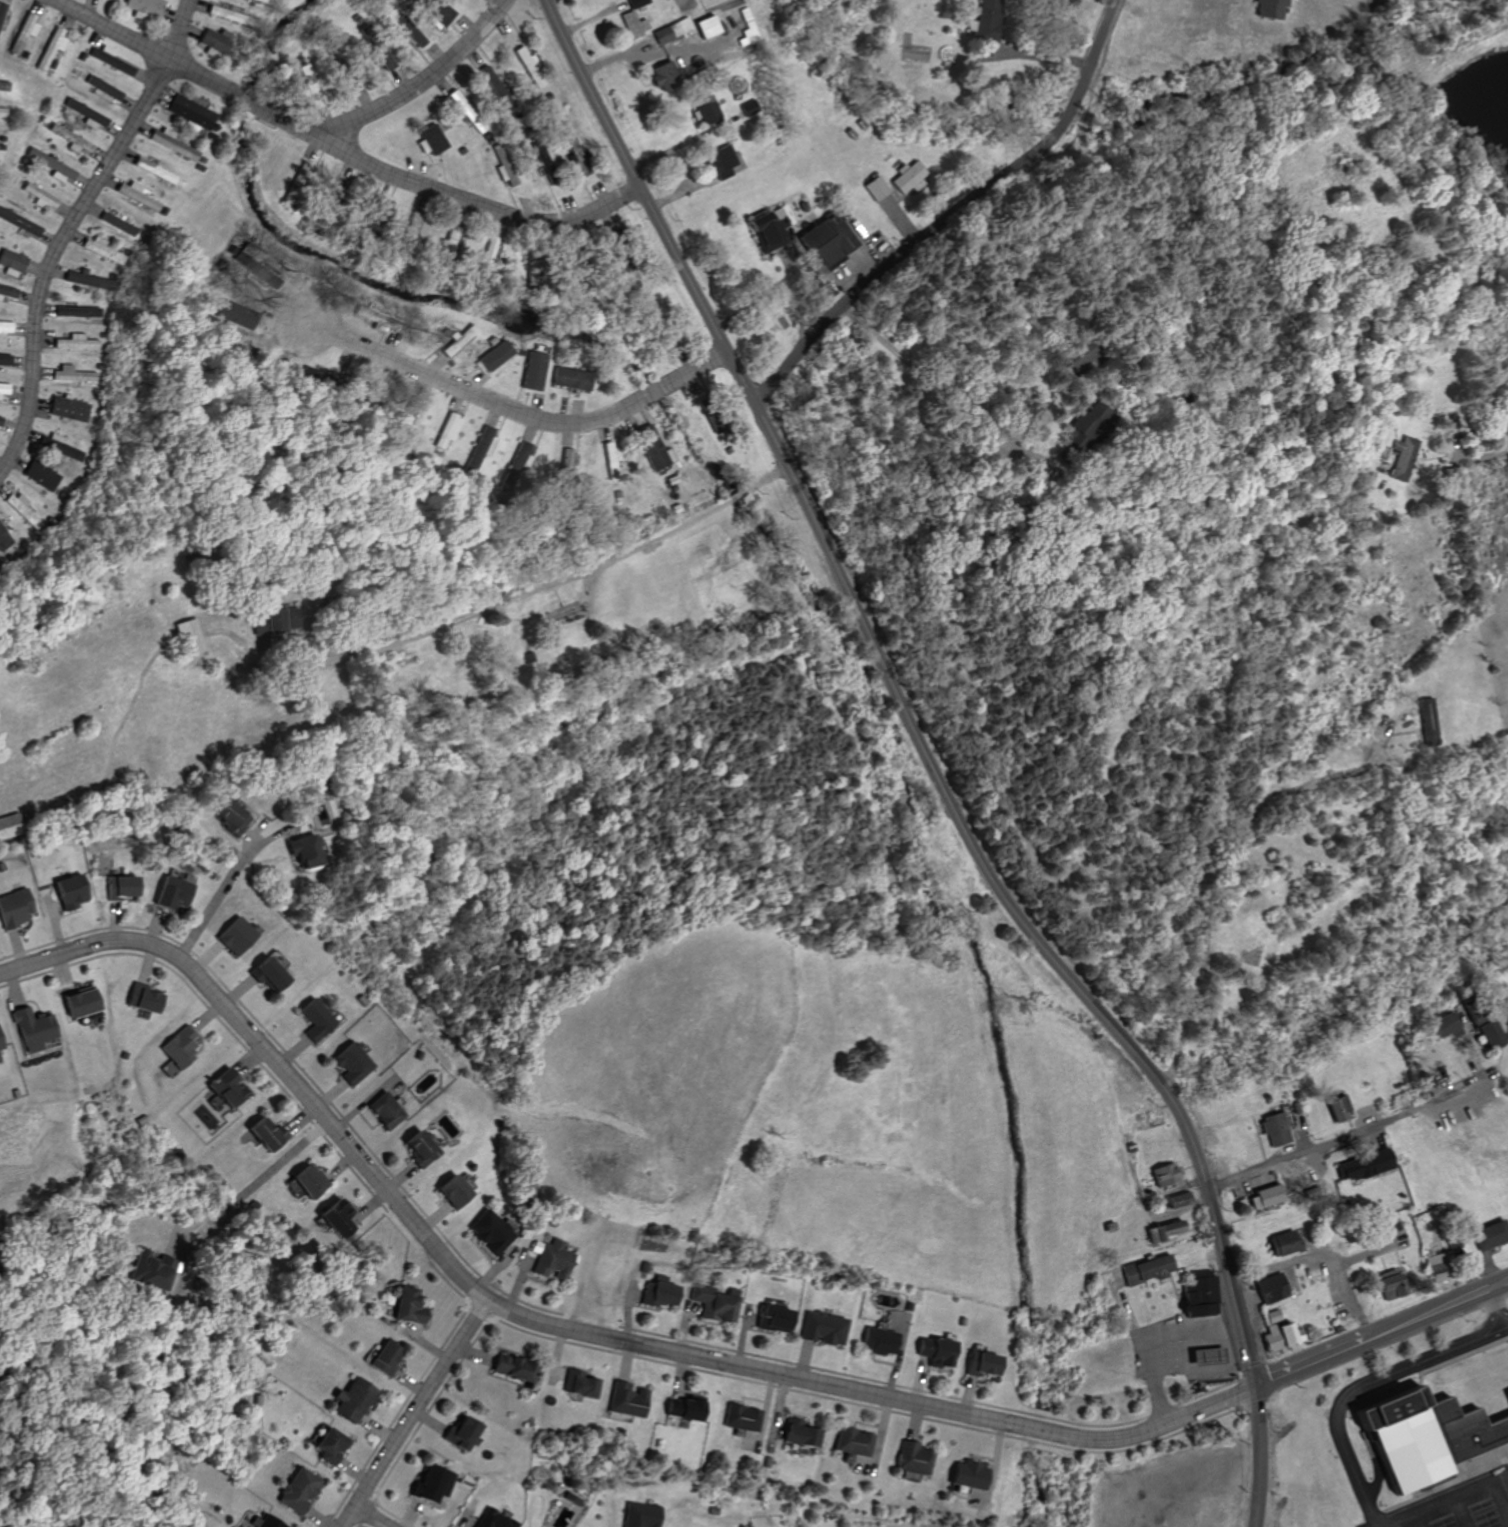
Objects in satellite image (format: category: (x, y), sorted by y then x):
building: (635, 3)
building: (146, 8)
building: (1269, 8)
building: (436, 12)
building: (222, 13)
building: (4, 16)
building: (747, 21)
building: (632, 24)
building: (705, 26)
building: (983, 28)
road: (178, 30)
building: (670, 31)
building: (27, 32)
building: (412, 35)
building: (211, 42)
road: (144, 46)
building: (53, 47)
building: (377, 56)
building: (111, 60)
building: (528, 67)
building: (660, 74)
road: (420, 80)
building: (488, 81)
building: (103, 87)
road: (241, 99)
building: (703, 108)
building: (3, 111)
building: (188, 112)
building: (87, 115)
building: (72, 139)
building: (427, 139)
building: (170, 145)
building: (718, 162)
building: (51, 166)
building: (151, 169)
building: (908, 177)
building: (874, 188)
road: (438, 193)
building: (135, 195)
building: (39, 196)
road: (954, 213)
building: (18, 222)
building: (116, 224)
building: (766, 225)
building: (411, 232)
building: (824, 240)
building: (444, 243)
building: (95, 246)
road: (53, 256)
building: (11, 263)
building: (77, 278)
building: (7, 291)
building: (76, 312)
building: (238, 315)
building: (6, 327)
building: (77, 342)
building: (4, 359)
building: (532, 368)
road: (694, 369)
building: (74, 374)
building: (568, 378)
building: (5, 389)
road: (656, 391)
road: (475, 396)
building: (71, 409)
building: (0, 419)
building: (448, 430)
building: (649, 447)
building: (481, 448)
building: (608, 454)
road: (1480, 455)
building: (521, 458)
building: (1398, 458)
building: (566, 462)
building: (42, 476)
road: (767, 479)
road: (739, 494)
building: (23, 508)
building: (4, 539)
road: (500, 601)
building: (563, 613)
building: (264, 622)
building: (188, 637)
road: (899, 699)
building: (1429, 721)
building: (232, 818)
building: (8, 826)
building: (302, 852)
road: (1223, 879)
building: (121, 887)
building: (68, 890)
building: (171, 893)
road: (211, 907)
building: (13, 908)
building: (233, 936)
building: (264, 975)
building: (141, 999)
building: (78, 1002)
building: (310, 1020)
building: (1443, 1026)
building: (30, 1030)
building: (1488, 1033)
building: (178, 1047)
building: (0, 1048)
building: (346, 1064)
building: (1337, 1107)
building: (381, 1111)
building: (1273, 1130)
building: (261, 1135)
road: (1347, 1137)
building: (416, 1150)
building: (1362, 1165)
building: (1164, 1174)
road: (259, 1180)
building: (305, 1181)
building: (449, 1192)
building: (1265, 1198)
building: (1176, 1201)
building: (335, 1219)
building: (1169, 1230)
building: (489, 1232)
building: (1488, 1234)
building: (1282, 1242)
building: (552, 1258)
road: (1320, 1258)
building: (1146, 1268)
building: (152, 1272)
building: (1388, 1283)
road: (1498, 1285)
building: (1270, 1288)
building: (663, 1291)
building: (1198, 1292)
building: (714, 1301)
building: (406, 1306)
road: (1495, 1310)
road: (1429, 1314)
building: (1271, 1316)
building: (773, 1319)
road: (553, 1327)
building: (822, 1328)
road: (1505, 1328)
building: (1281, 1335)
building: (877, 1341)
road: (1161, 1347)
building: (930, 1350)
building: (1206, 1356)
gas station: (1206, 1356)
building: (386, 1358)
road: (1310, 1361)
building: (978, 1363)
building: (515, 1366)
building: (581, 1383)
road: (1363, 1383)
building: (1505, 1396)
building: (356, 1399)
building: (628, 1399)
building: (684, 1407)
road: (417, 1413)
building: (741, 1418)
building: (463, 1432)
building: (799, 1433)
building: (1420, 1433)
building: (851, 1441)
building: (331, 1445)
road: (1259, 1457)
building: (910, 1458)
building: (964, 1474)
building: (435, 1483)
building: (301, 1489)
building: (573, 1498)
road: (1463, 1501)
building: (641, 1515)
road: (1461, 1515)
road: (374, 1517)
building: (493, 1520)
road: (1371, 1521)
building: (267, 1522)
road: (1418, 1523)

